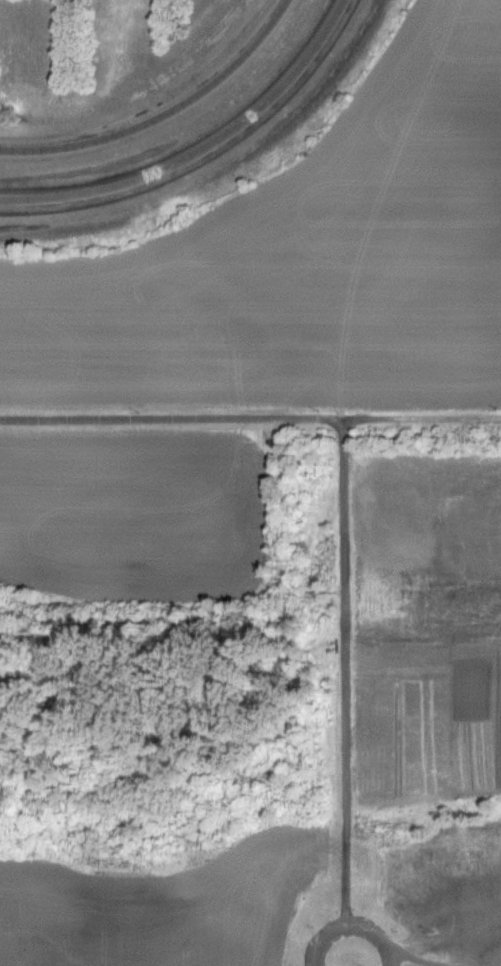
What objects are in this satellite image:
road: (163, 114)
road: (200, 149)
crop: (308, 253)
road: (172, 417)
road: (343, 594)
crop: (157, 907)
road: (348, 926)
road: (409, 959)

